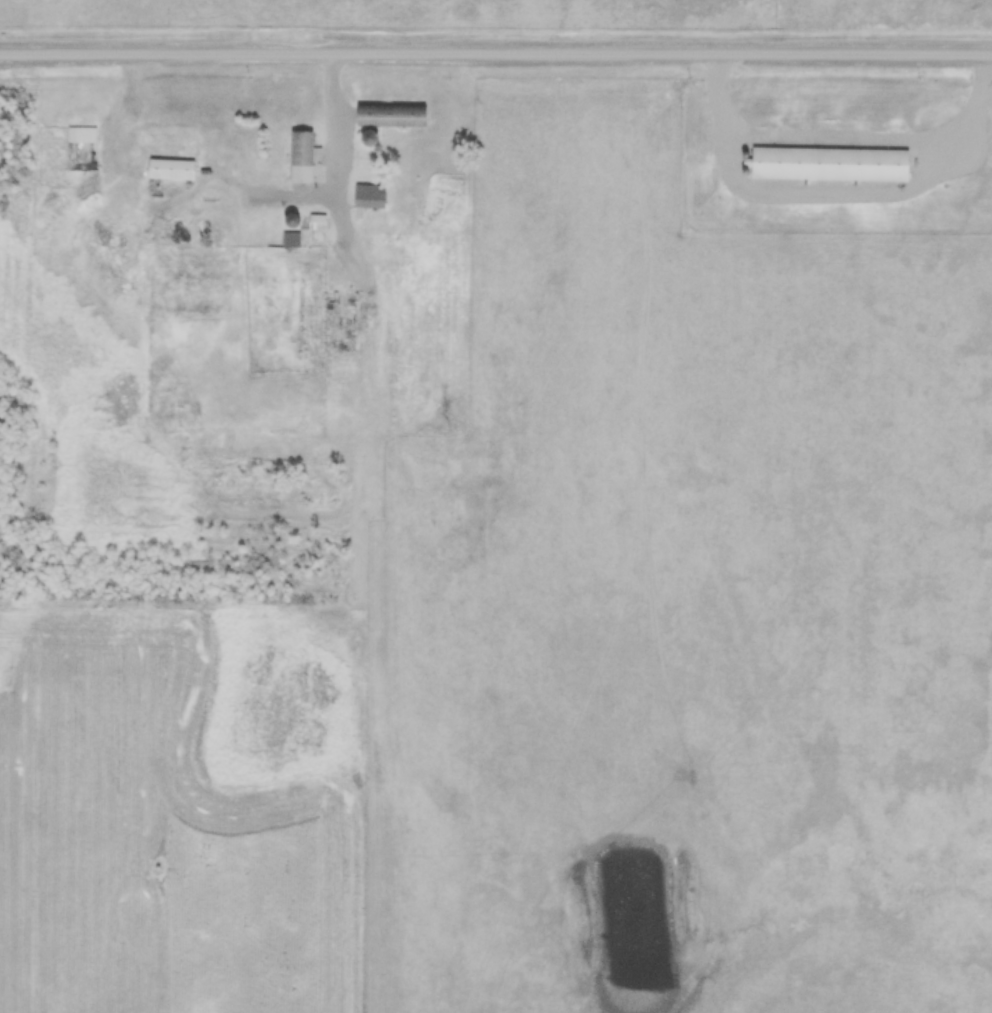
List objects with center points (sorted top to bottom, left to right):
road: (495, 56)
building: (372, 114)
building: (80, 134)
building: (367, 138)
road: (333, 152)
building: (300, 156)
building: (828, 164)
building: (169, 169)
building: (367, 196)
building: (315, 222)
building: (289, 240)

